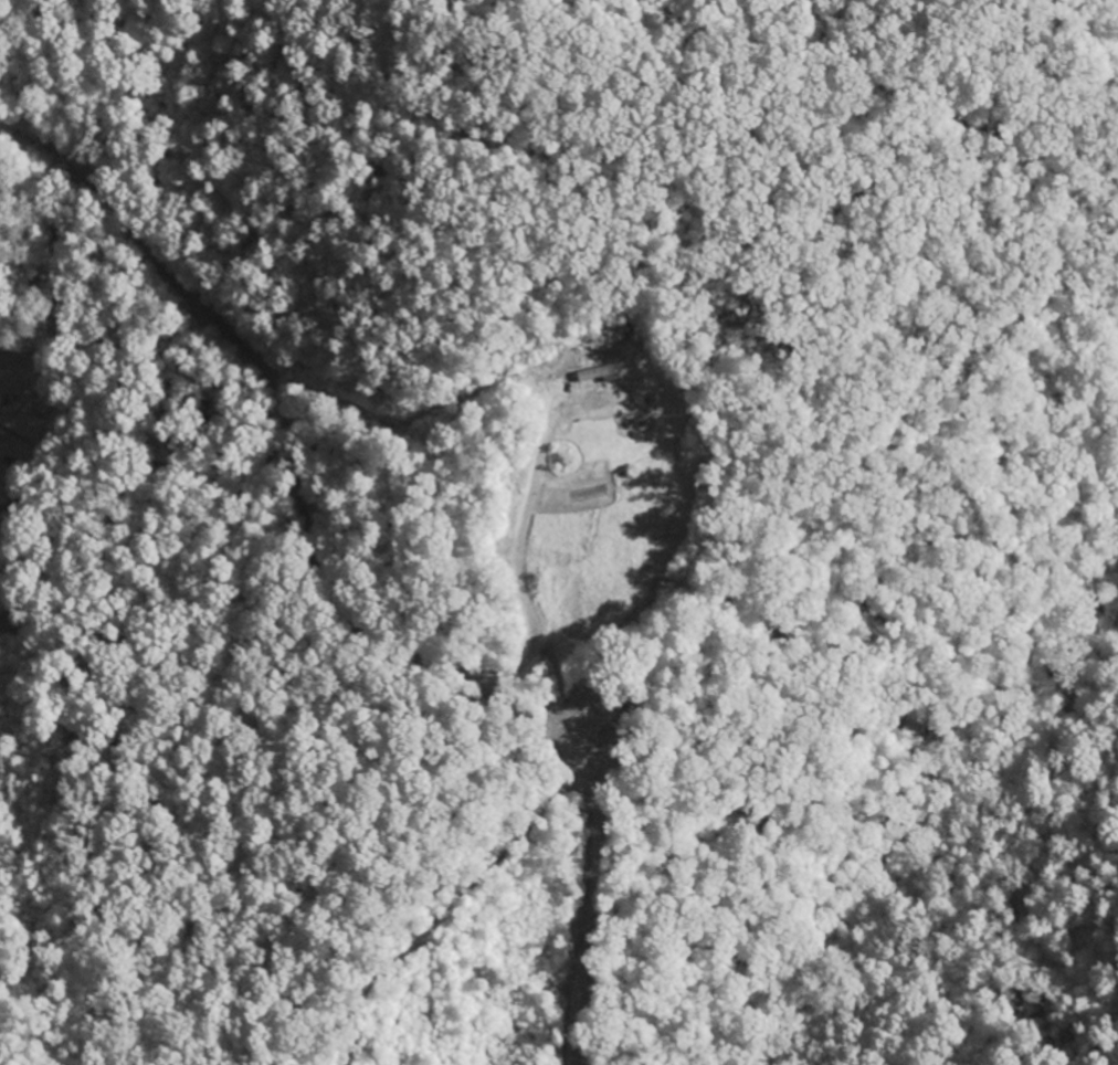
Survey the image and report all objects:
road: (60, 349)
building: (602, 372)
road: (300, 473)

